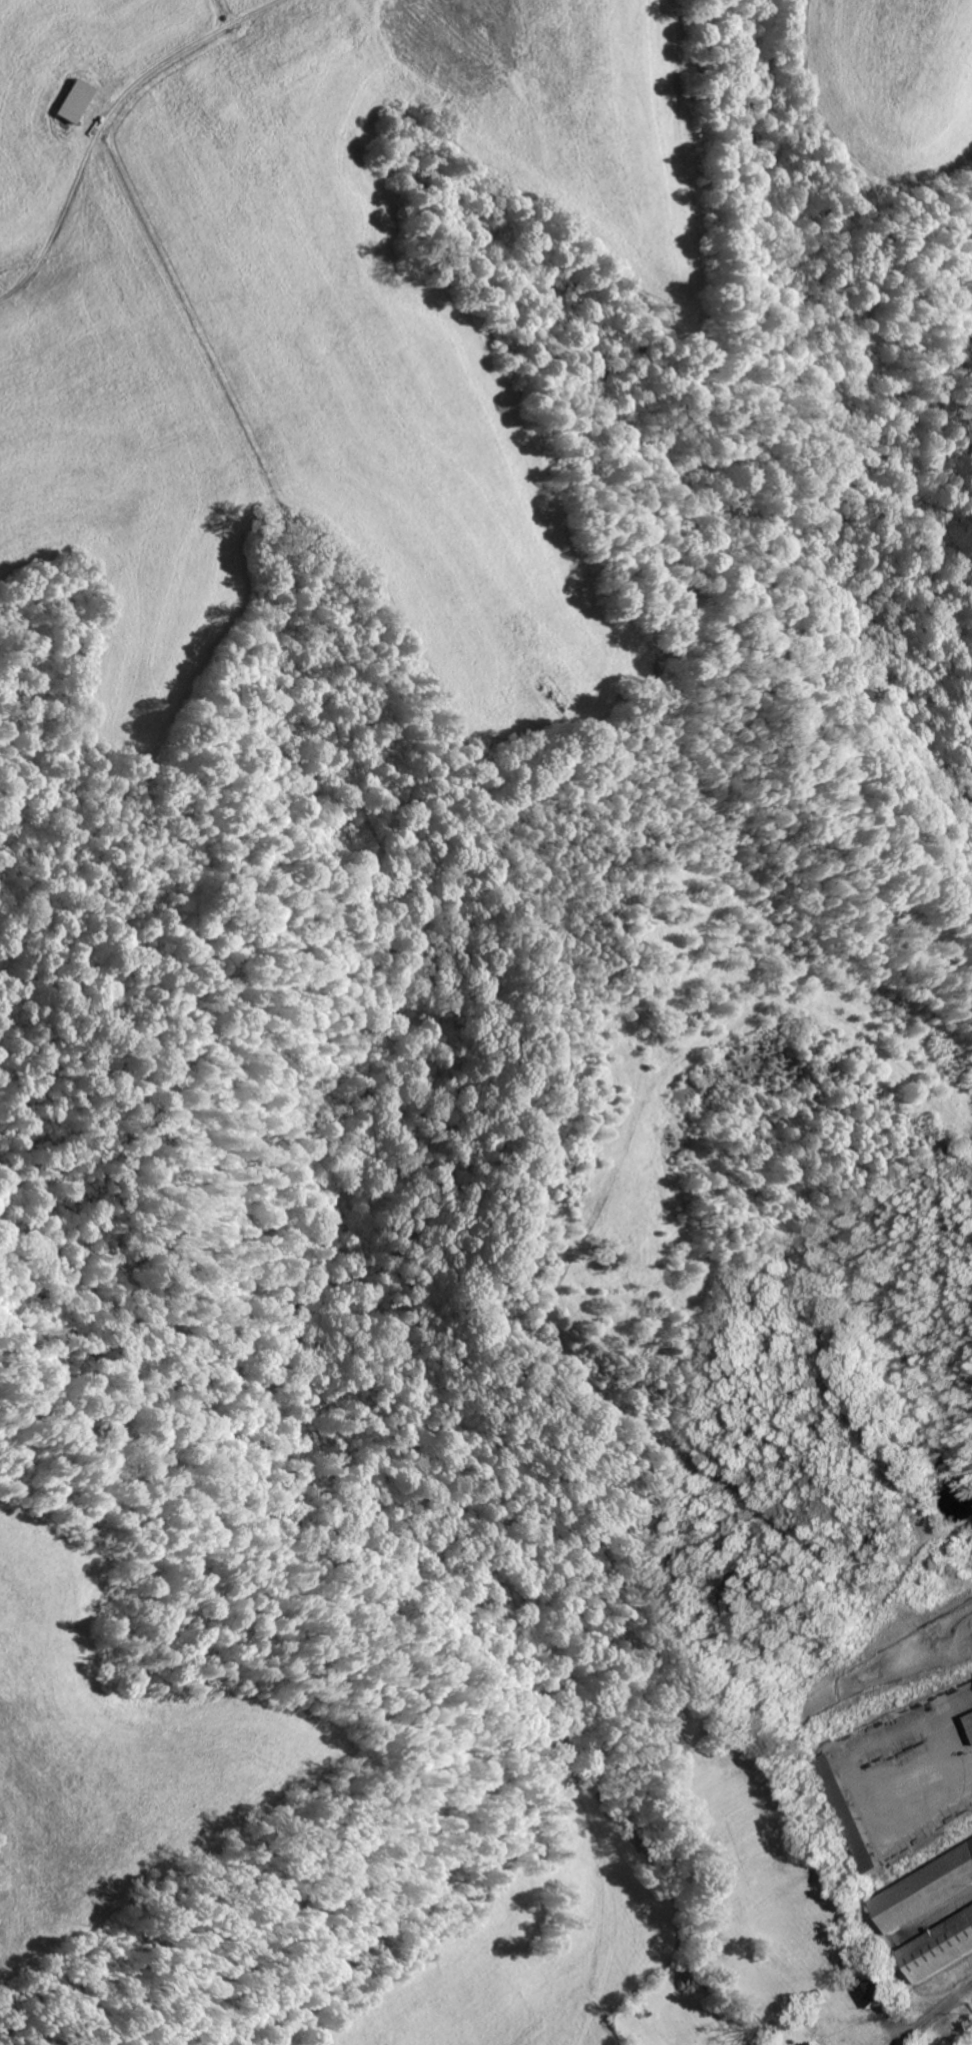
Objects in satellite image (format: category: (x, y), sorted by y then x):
building: (967, 1724)
building: (897, 1776)
building: (844, 1814)
building: (922, 1889)
building: (936, 1946)
building: (866, 1992)
road: (933, 2012)
building: (806, 2043)

